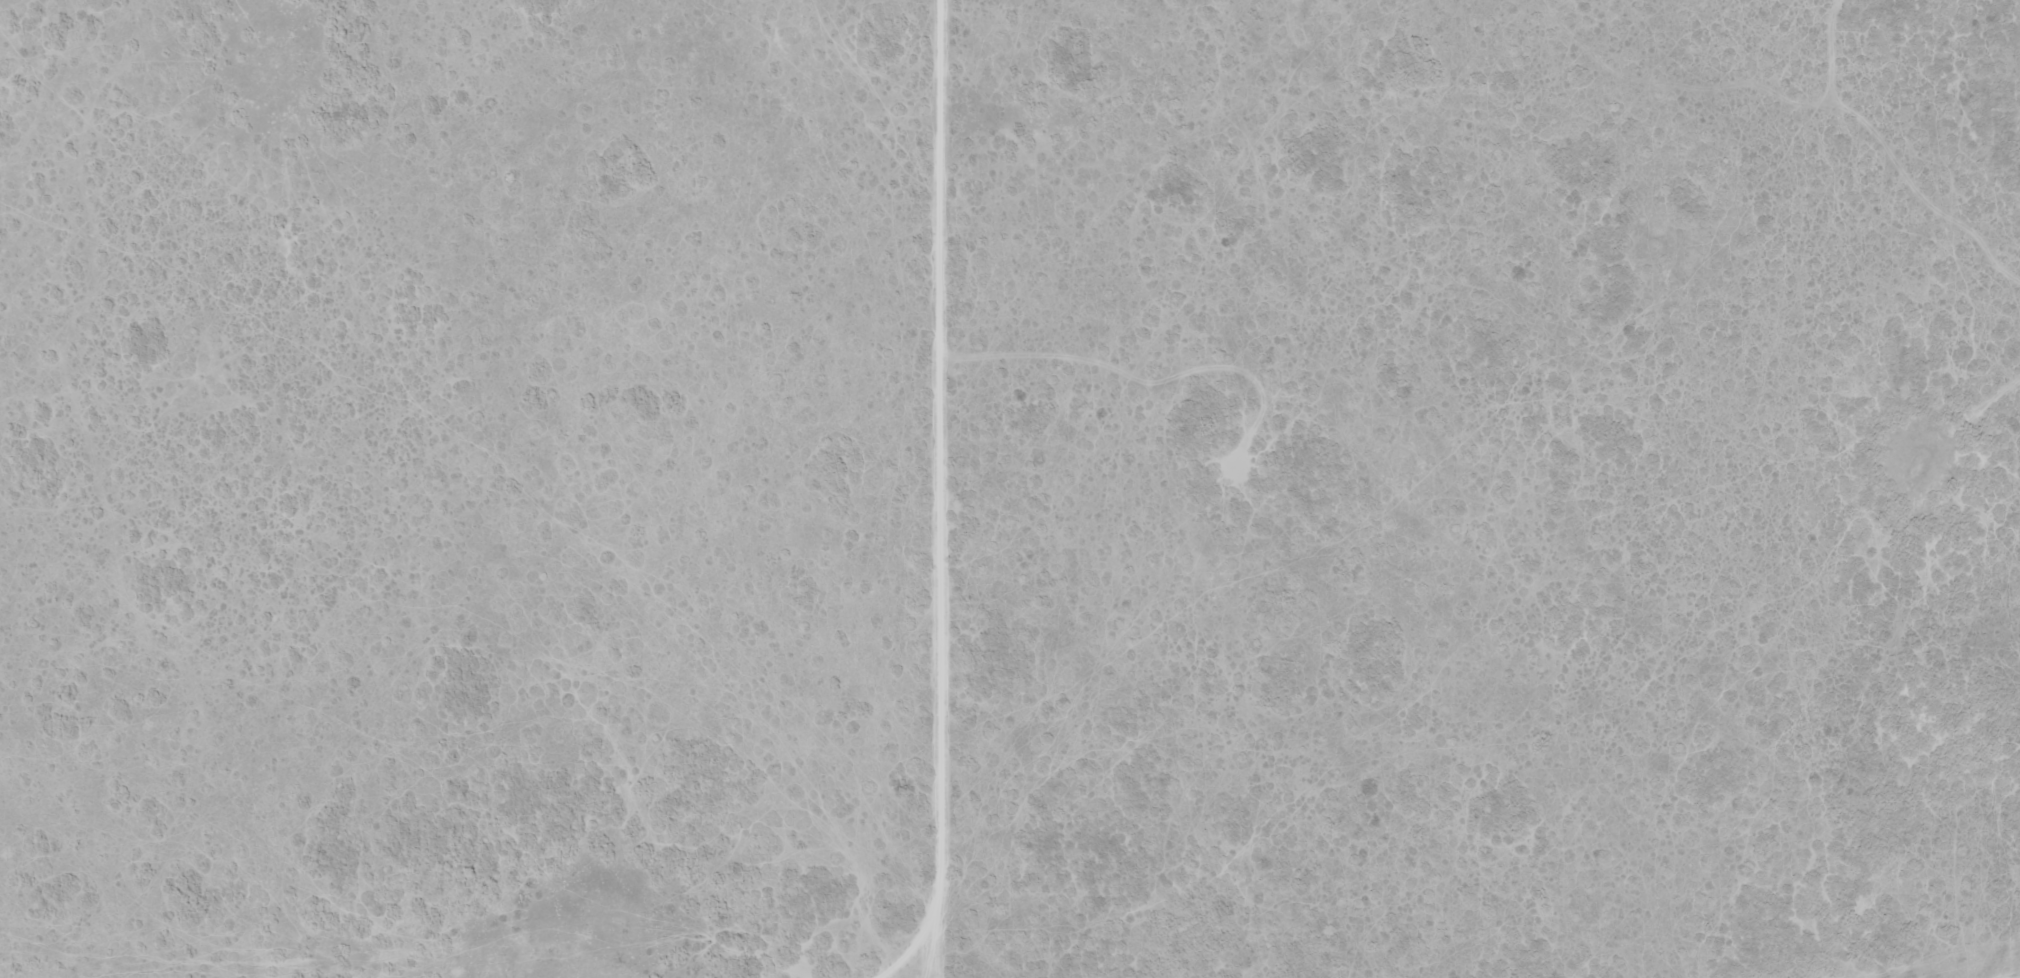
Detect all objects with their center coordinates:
road: (960, 489)
road: (2014, 897)
road: (930, 963)

